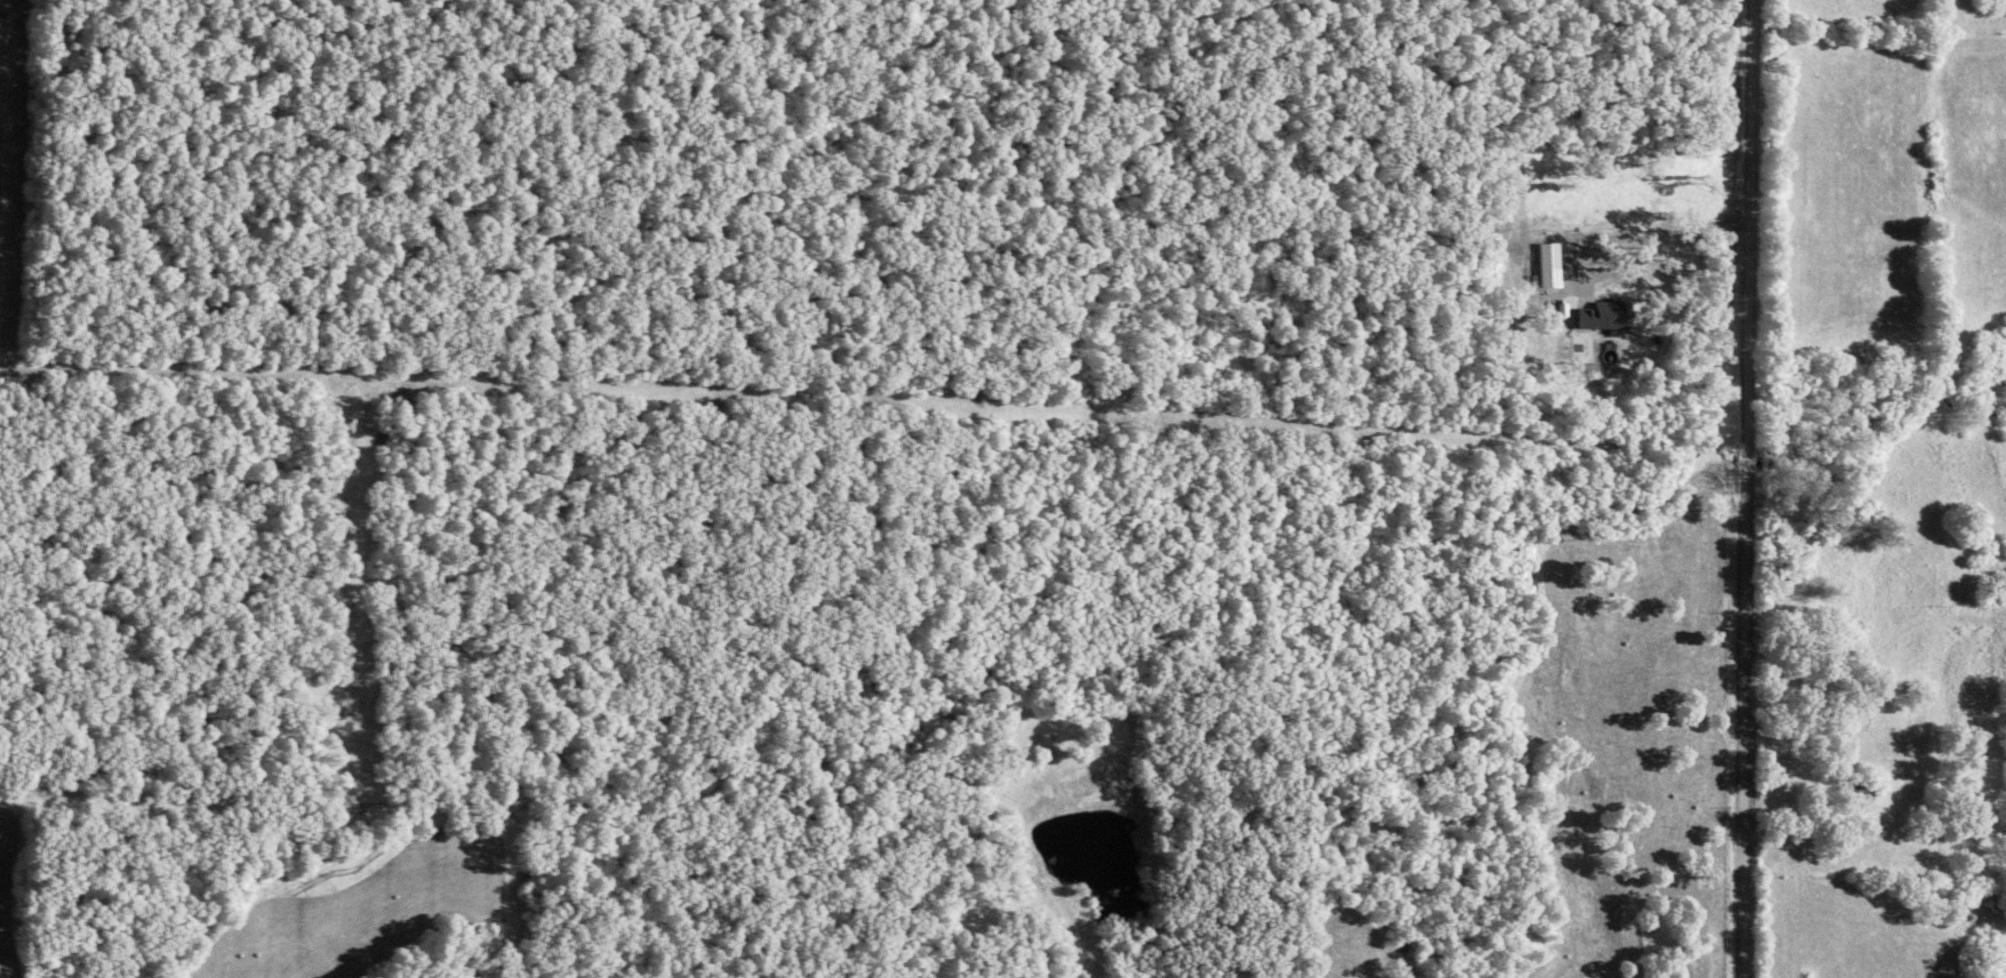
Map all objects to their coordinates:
road: (1595, 237)
building: (1546, 262)
building: (1602, 313)
road: (1741, 488)
road: (1872, 642)

